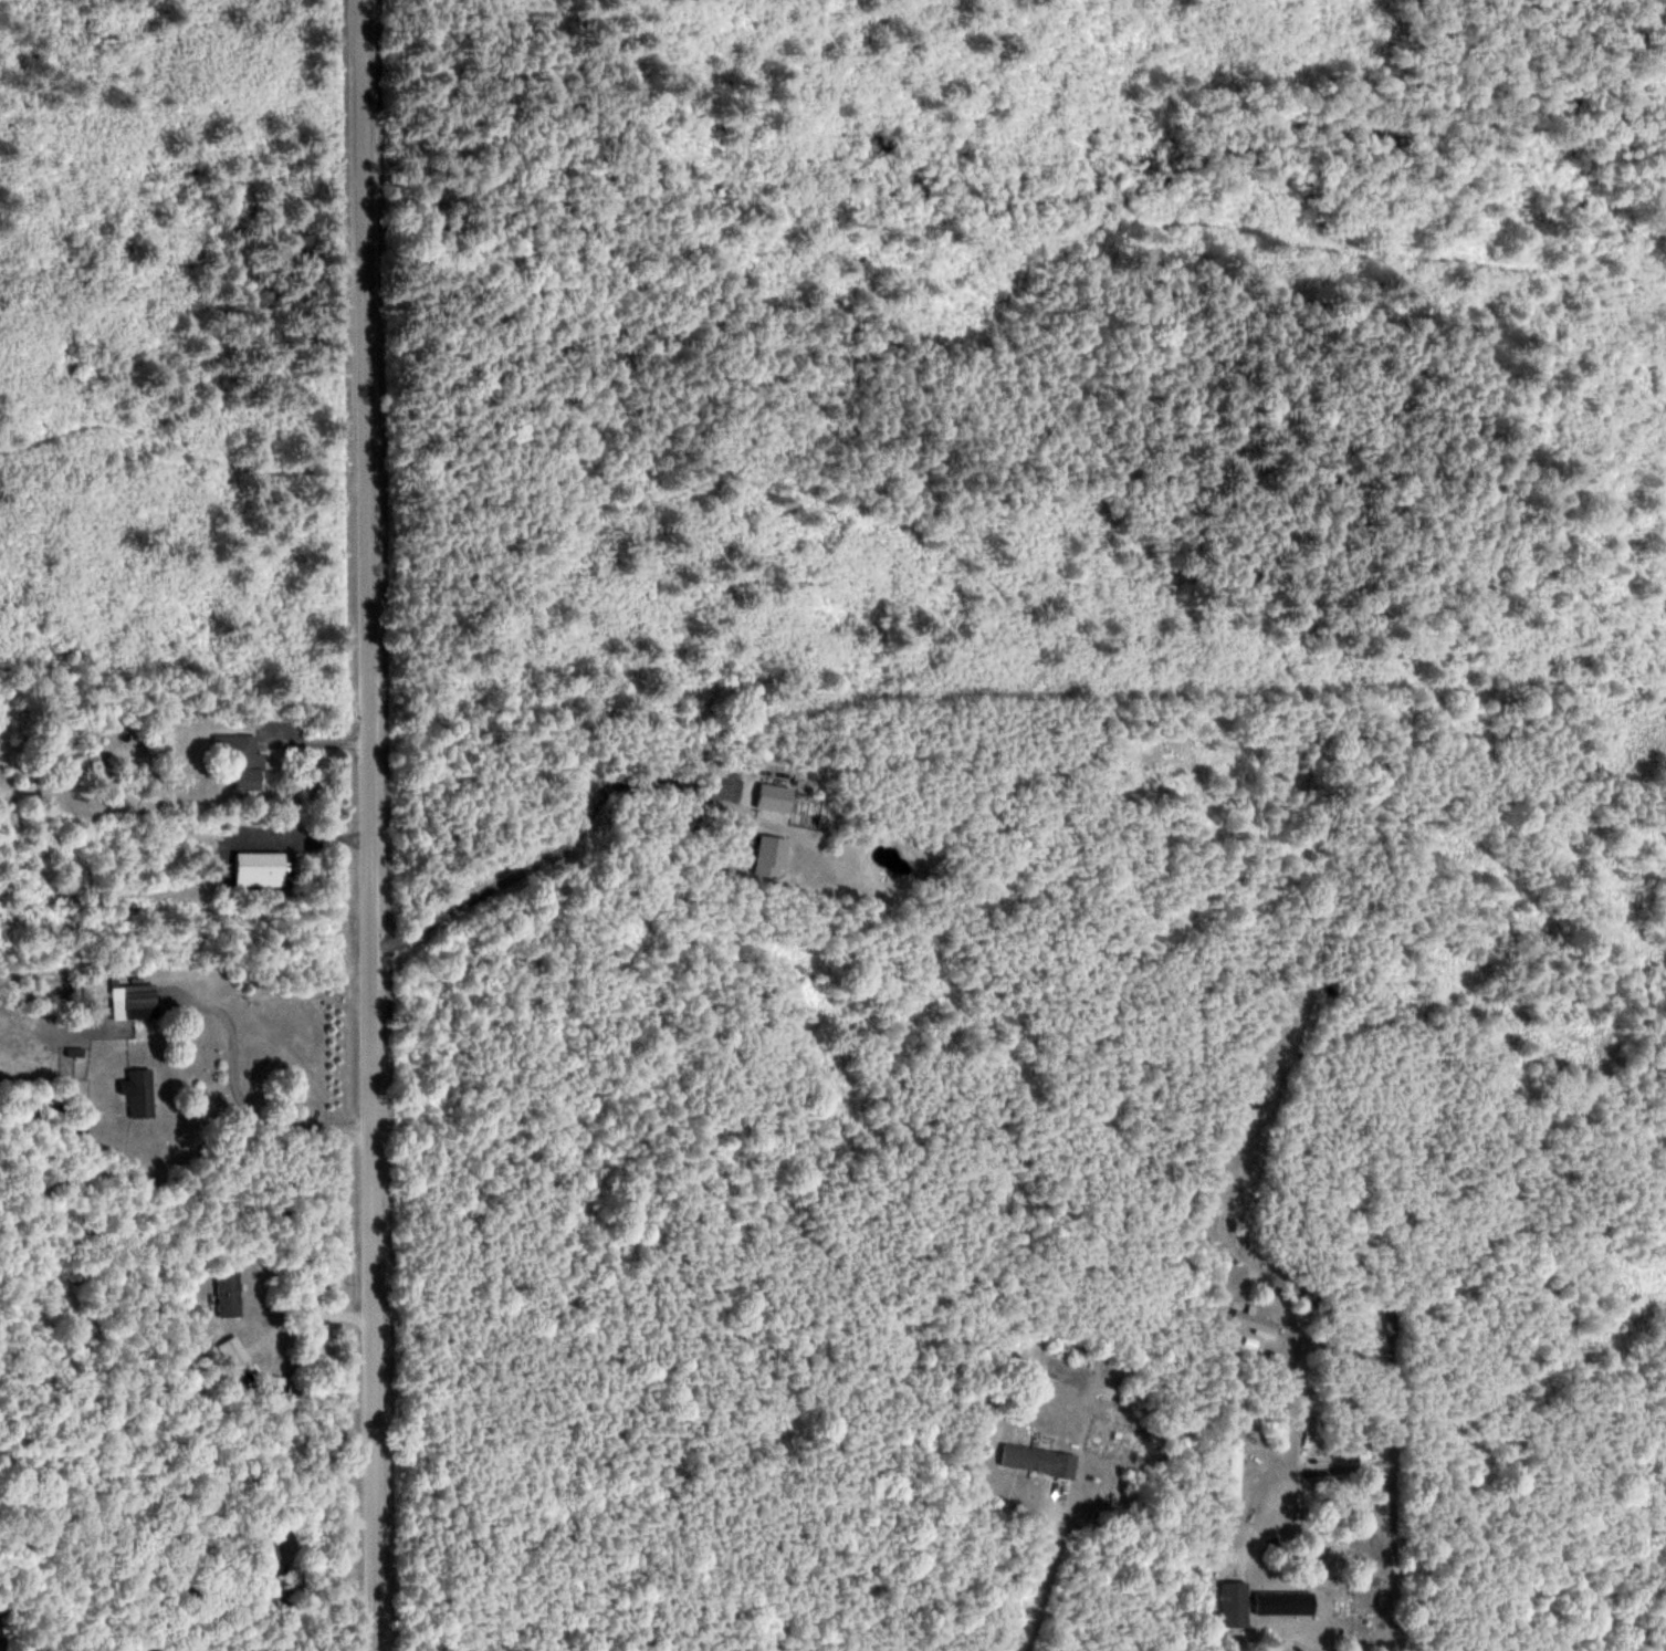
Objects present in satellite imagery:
building: (242, 759)
building: (88, 765)
road: (373, 825)
road: (562, 853)
building: (134, 1006)
building: (140, 1091)
road: (241, 1101)
building: (229, 1292)
building: (1257, 1320)
building: (239, 1359)
building: (275, 1382)
building: (1039, 1459)
building: (1236, 1474)
road: (1259, 1505)
road: (1024, 1572)
building: (275, 1582)
building: (1304, 1596)
building: (1236, 1603)

